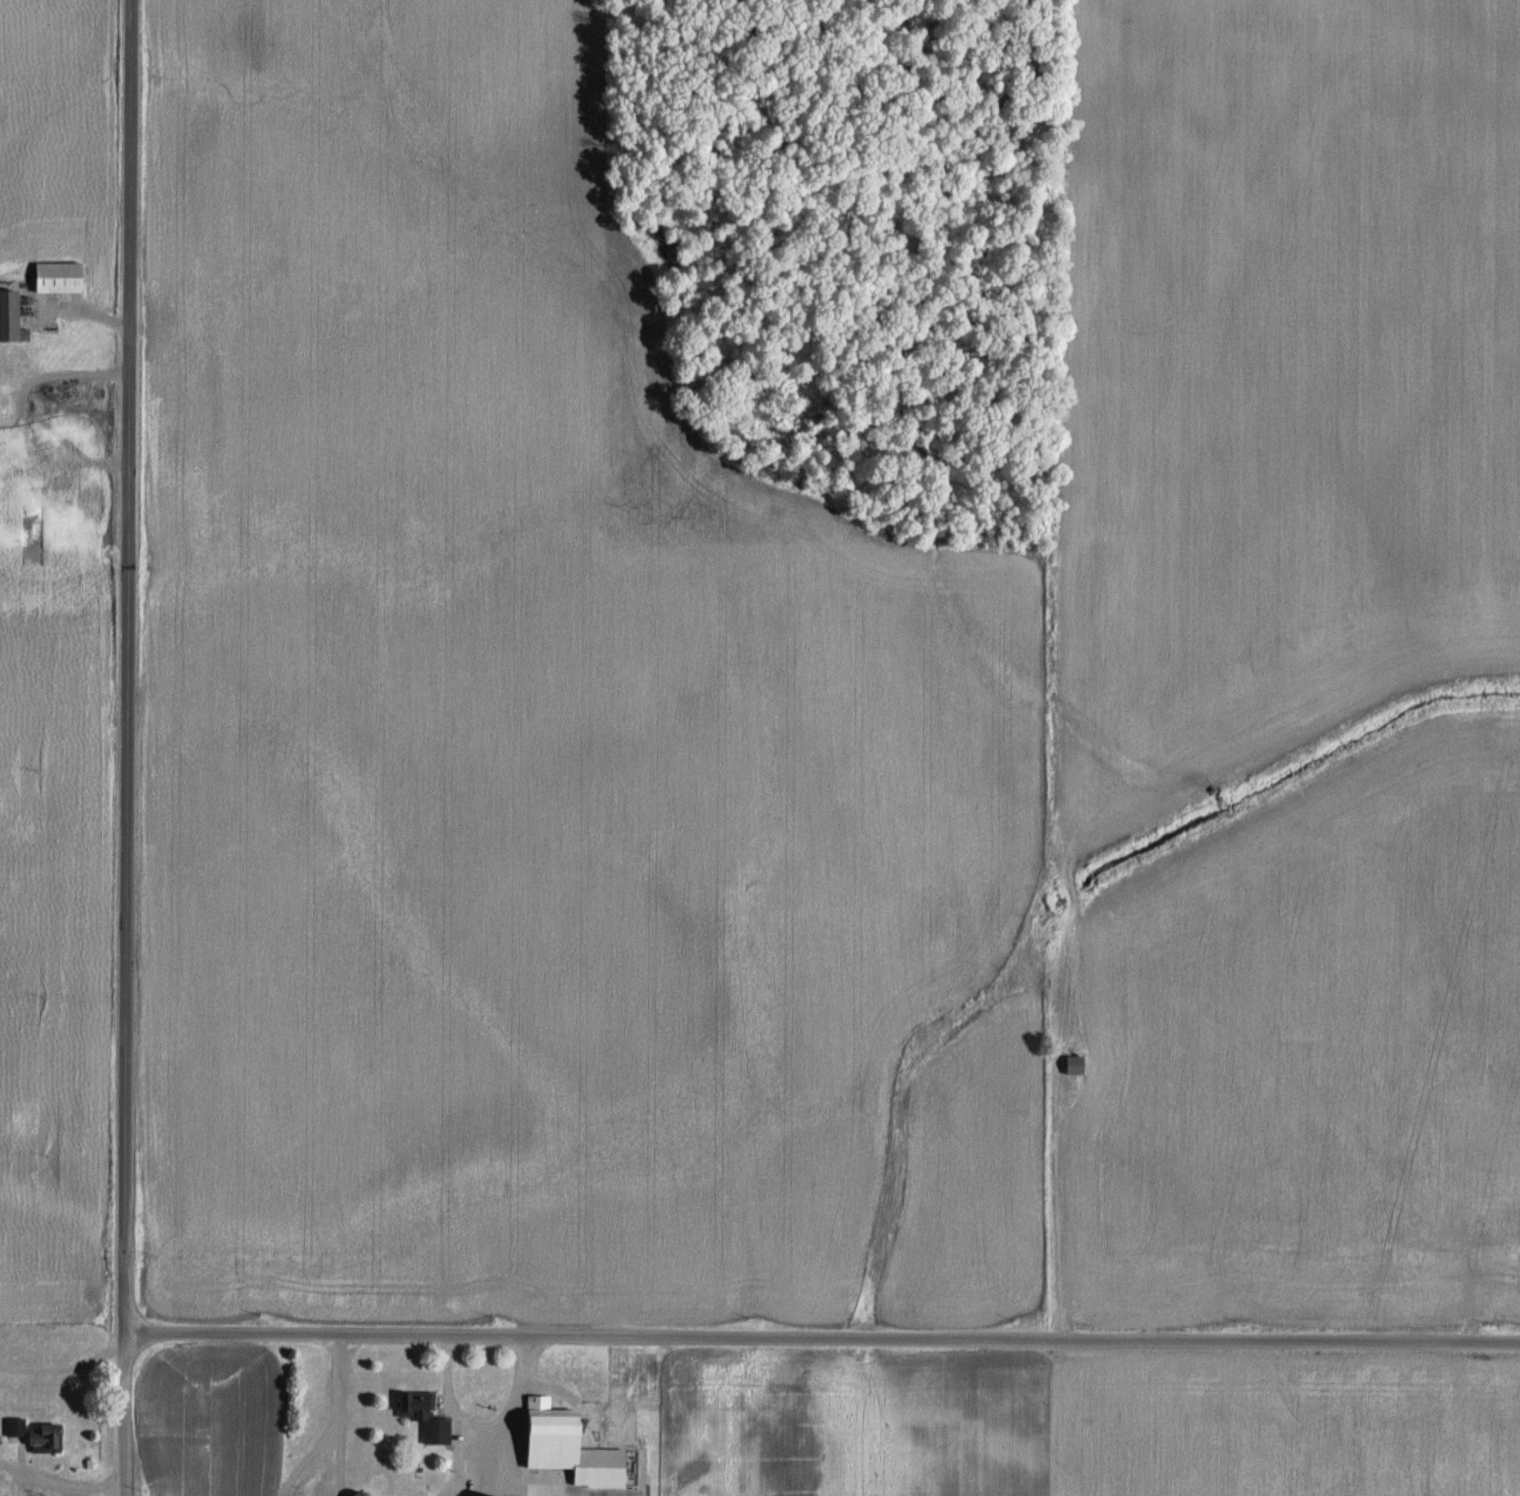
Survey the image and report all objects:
building: (60, 276)
building: (10, 314)
road: (18, 418)
building: (59, 489)
road: (128, 665)
road: (1008, 981)
building: (1076, 1064)
road: (822, 1336)
road: (65, 1366)
road: (448, 1392)
road: (125, 1413)
building: (425, 1414)
road: (504, 1416)
road: (336, 1424)
building: (16, 1429)
building: (48, 1438)
building: (571, 1445)
road: (61, 1483)

